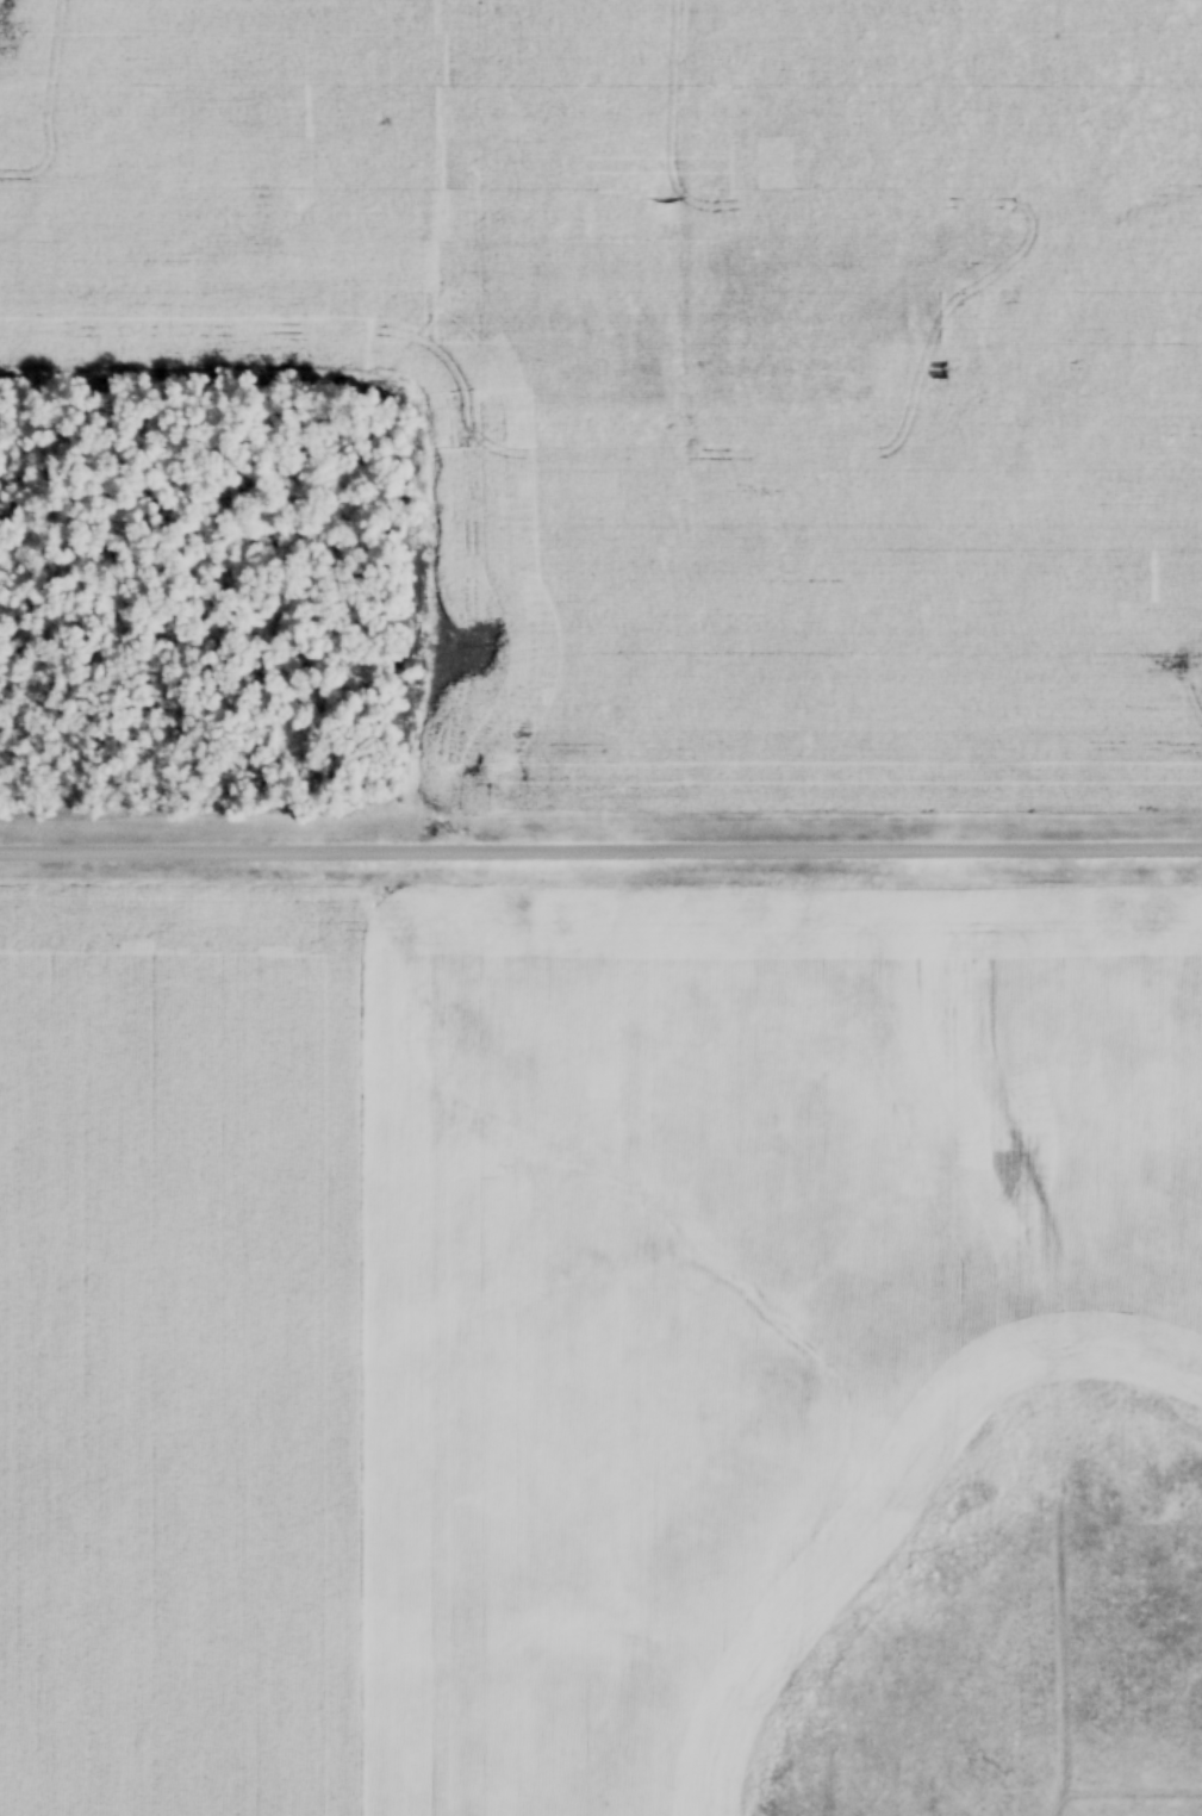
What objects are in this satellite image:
road: (600, 848)

